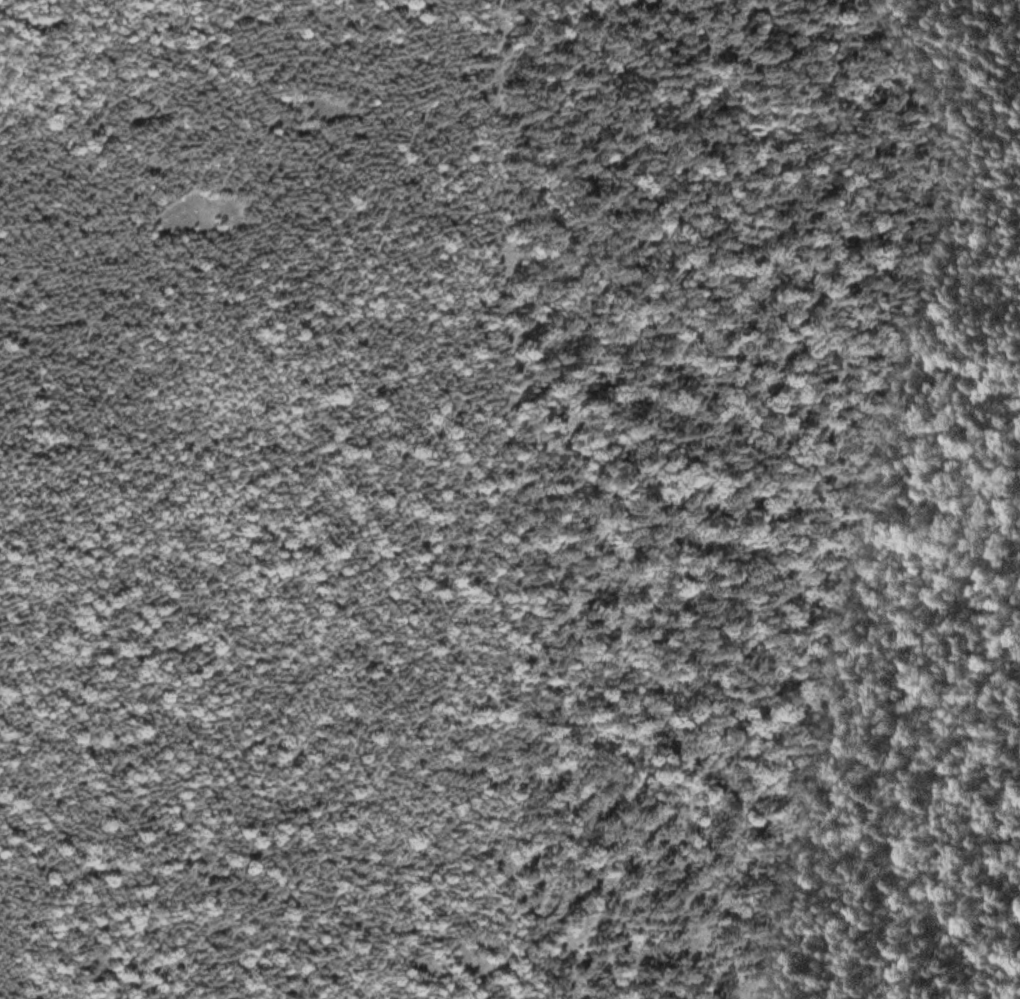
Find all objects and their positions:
road: (290, 62)

